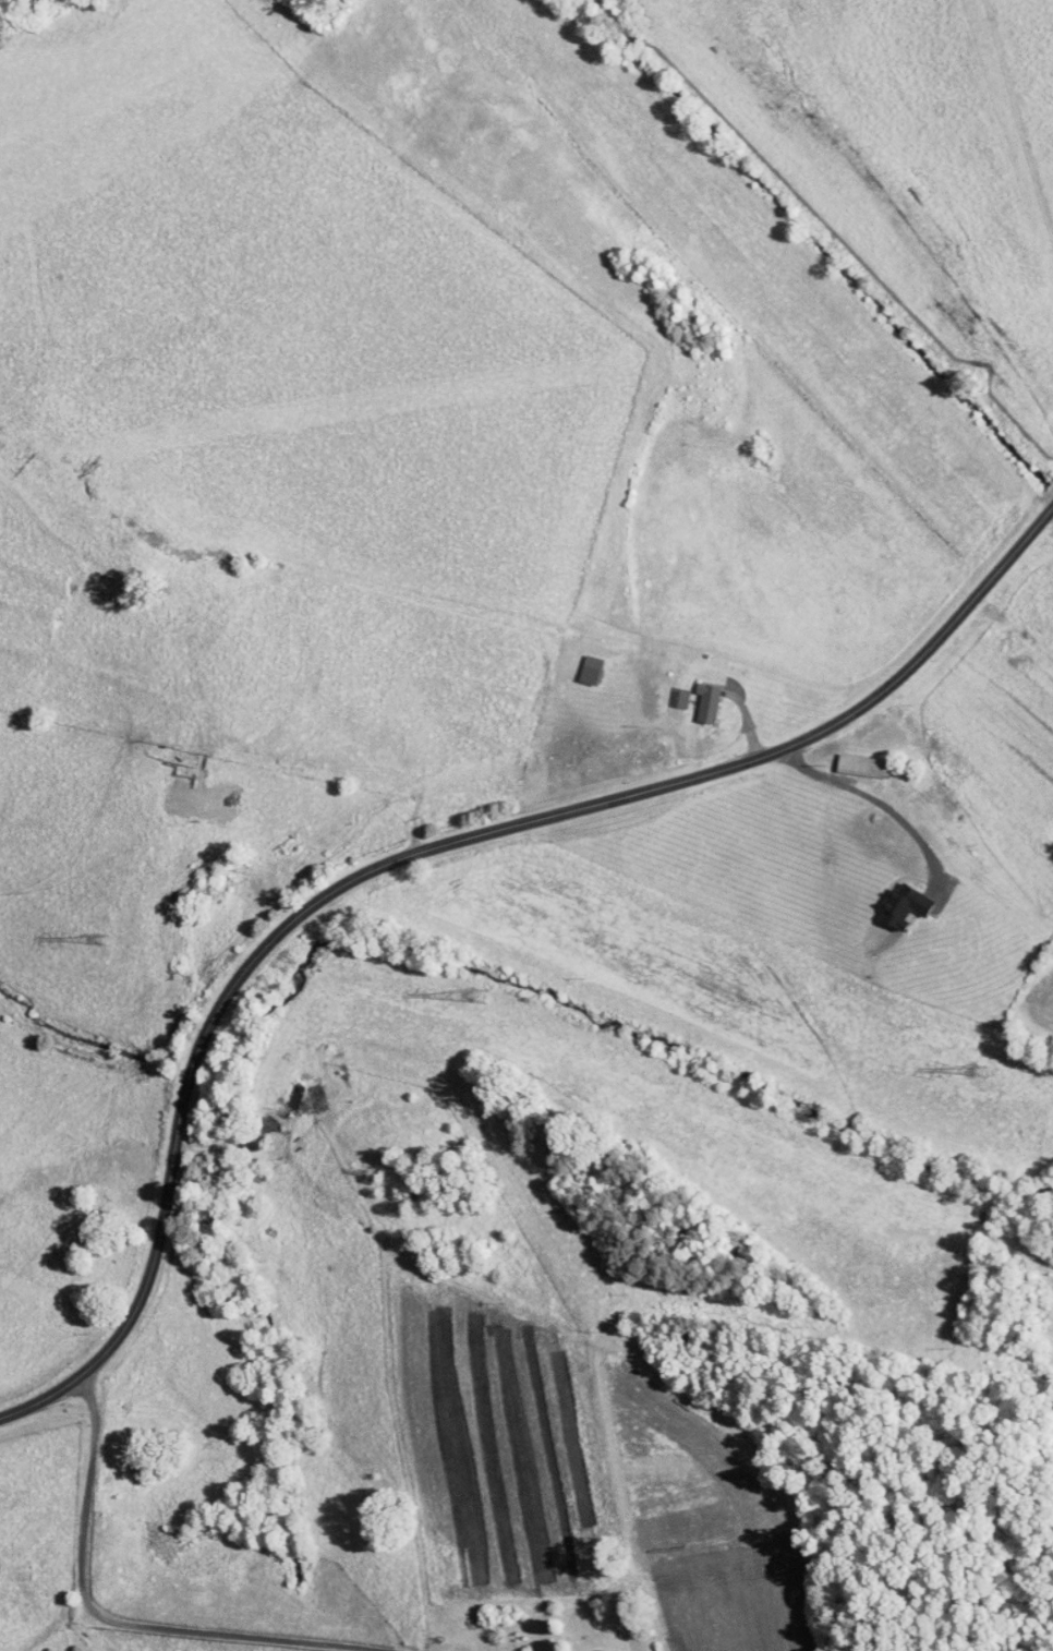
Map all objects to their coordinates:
building: (577, 663)
building: (693, 695)
building: (849, 759)
road: (872, 800)
road: (414, 851)
building: (889, 899)
power tower: (100, 940)
power tower: (479, 995)
power tower: (976, 1069)
road: (221, 1559)
building: (589, 1647)

